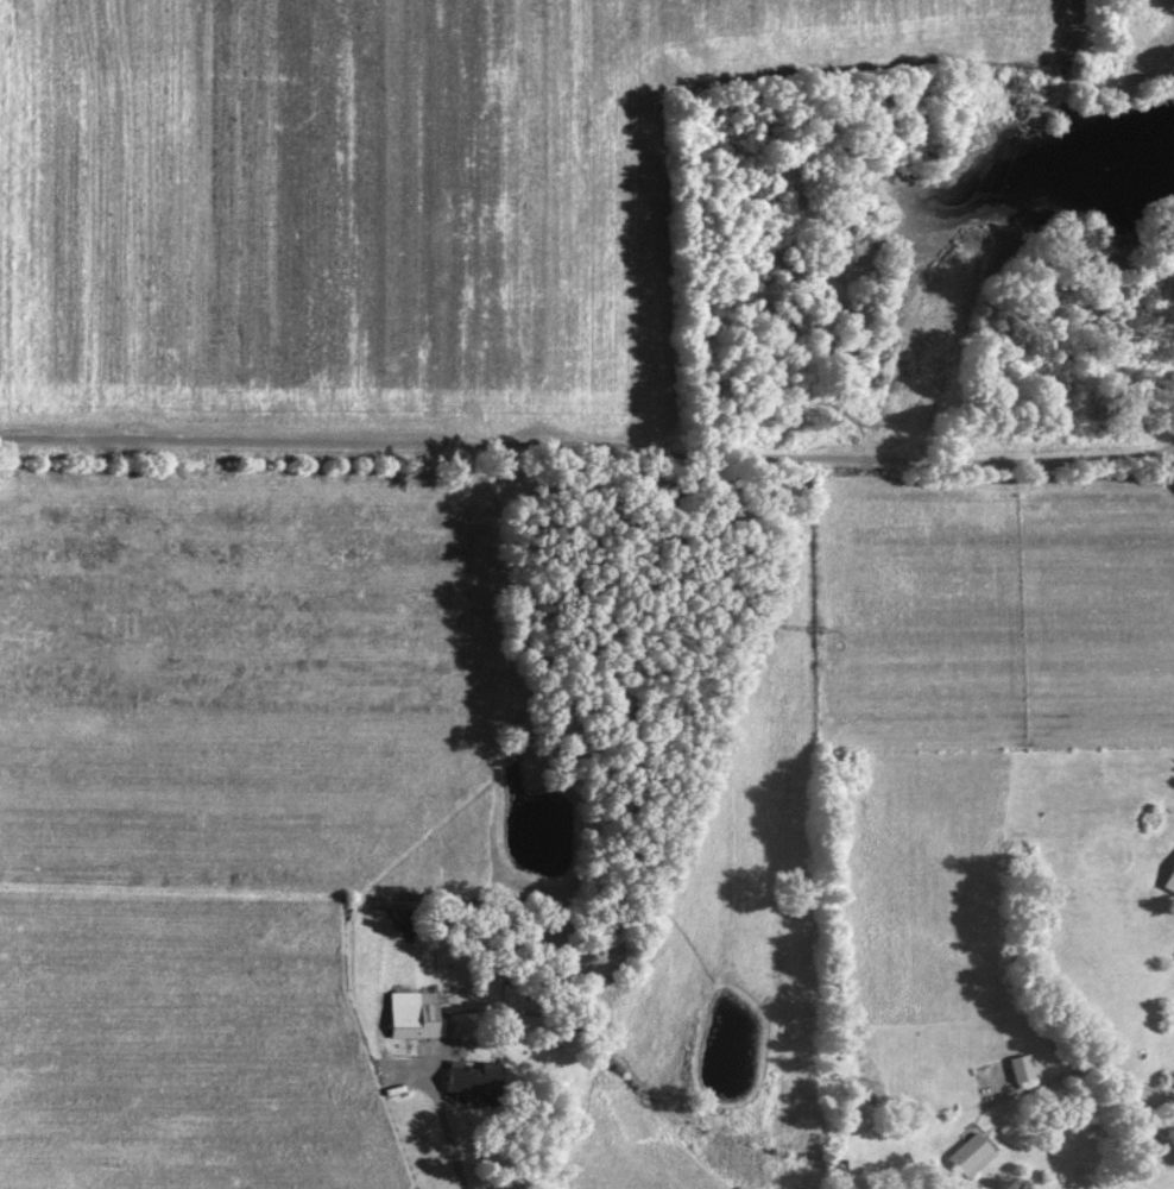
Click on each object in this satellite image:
building: (1167, 885)
building: (408, 1021)
building: (1014, 1075)
building: (474, 1087)
building: (964, 1160)

